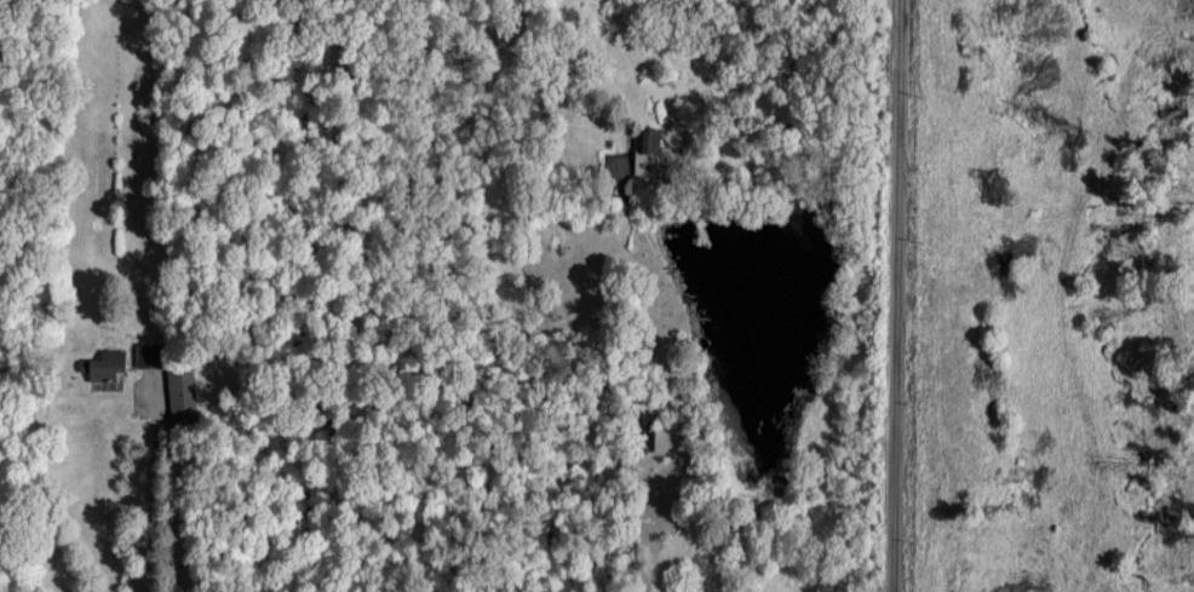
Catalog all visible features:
road: (879, 295)
building: (105, 364)
road: (619, 381)
building: (180, 391)

